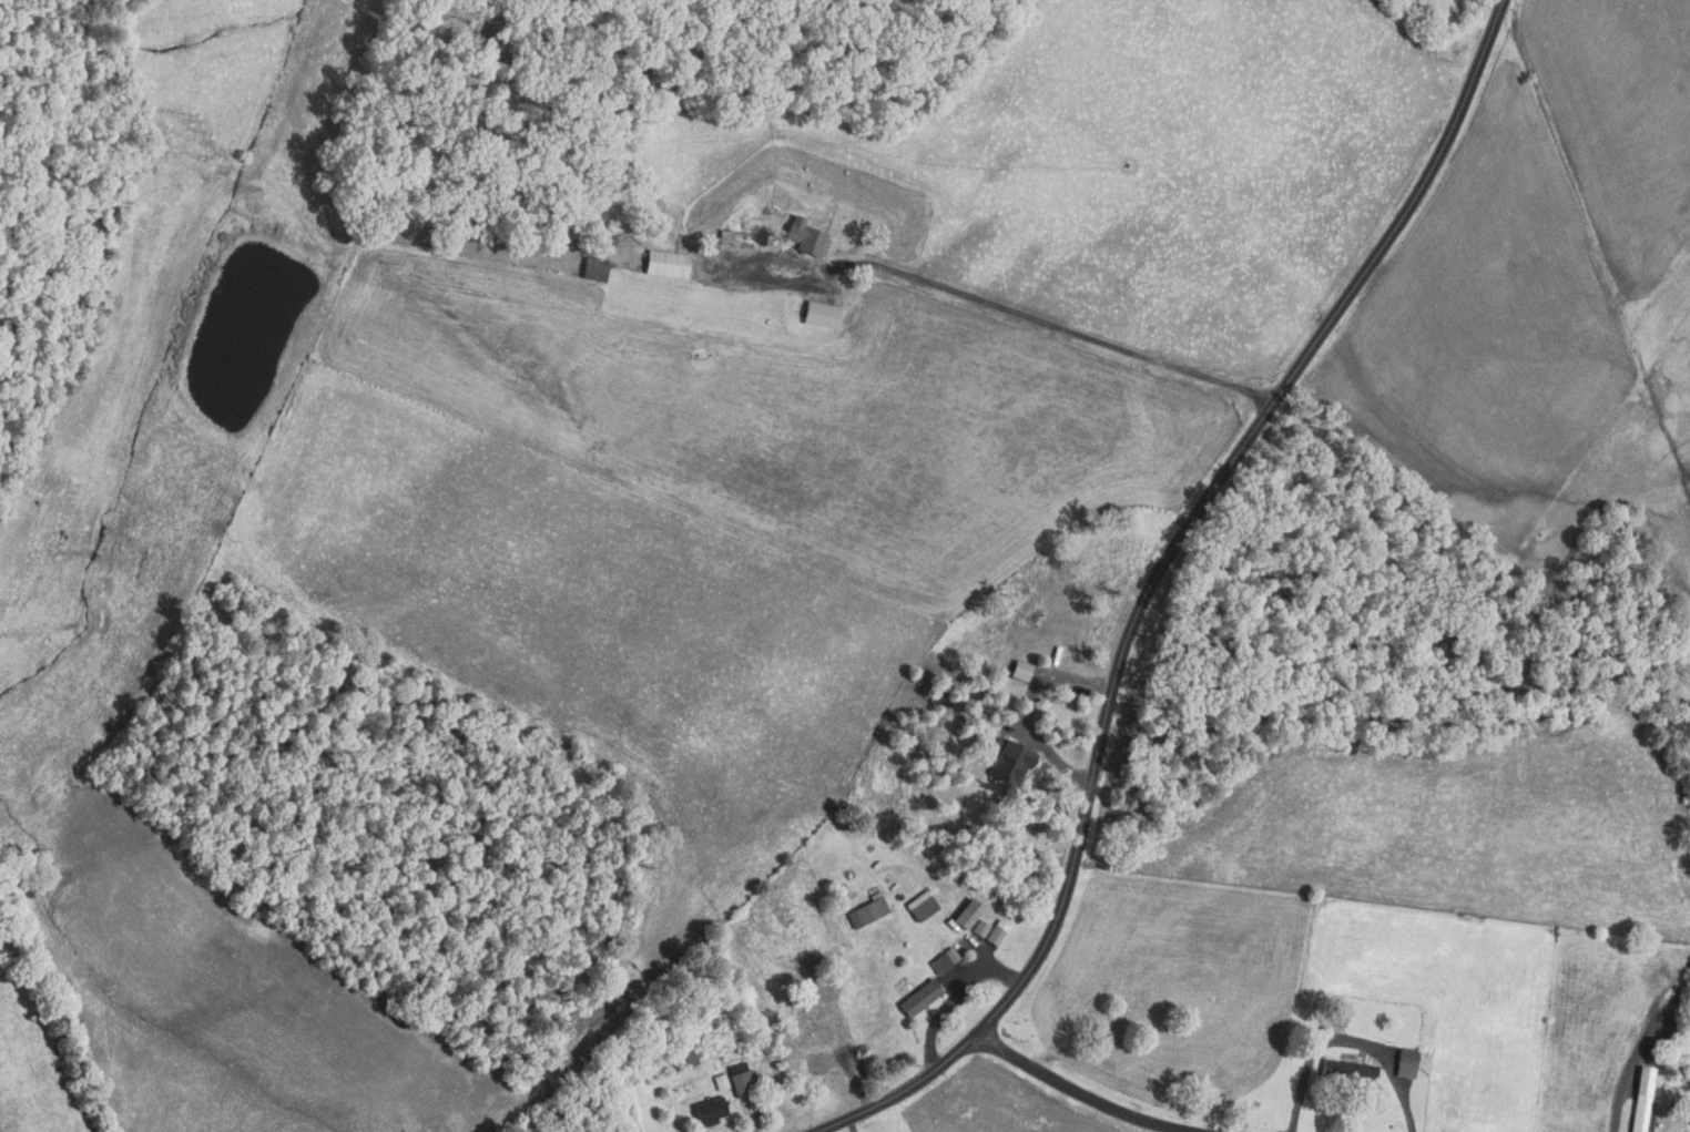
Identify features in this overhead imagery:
building: (786, 181)
building: (743, 212)
building: (734, 236)
building: (806, 237)
building: (665, 262)
building: (593, 267)
building: (821, 315)
road: (1070, 335)
road: (1152, 581)
building: (1020, 670)
building: (939, 692)
road: (1052, 754)
building: (1010, 759)
building: (922, 906)
building: (866, 911)
building: (967, 912)
building: (980, 929)
building: (996, 932)
building: (951, 953)
building: (940, 963)
building: (833, 978)
road: (954, 995)
building: (919, 996)
road: (1345, 1042)
building: (685, 1051)
building: (1407, 1055)
building: (819, 1058)
building: (1347, 1074)
building: (1688, 1074)
building: (741, 1078)
road: (855, 1080)
building: (1646, 1080)
building: (721, 1082)
road: (1080, 1093)
road: (1620, 1100)
building: (760, 1105)
building: (707, 1110)
building: (1640, 1115)
road: (747, 1116)
road: (849, 1125)

